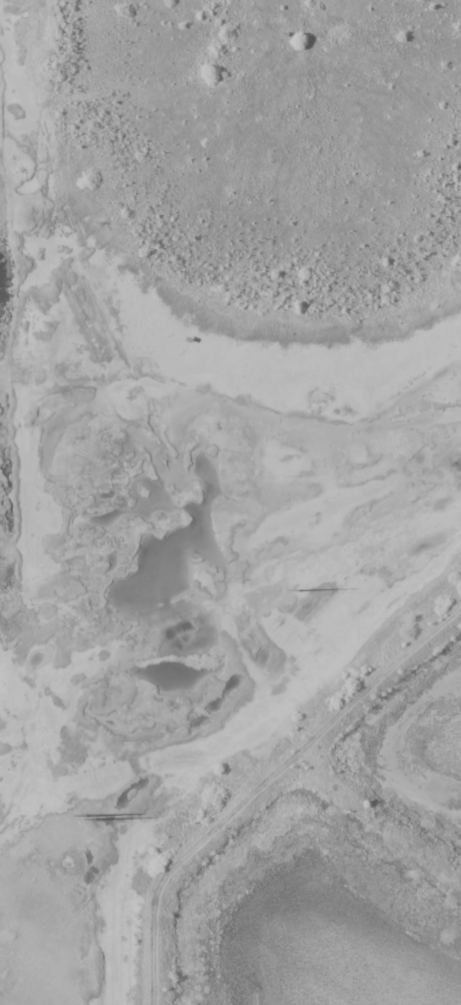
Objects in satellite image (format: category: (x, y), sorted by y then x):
power tower: (299, 591)
power tower: (87, 818)

